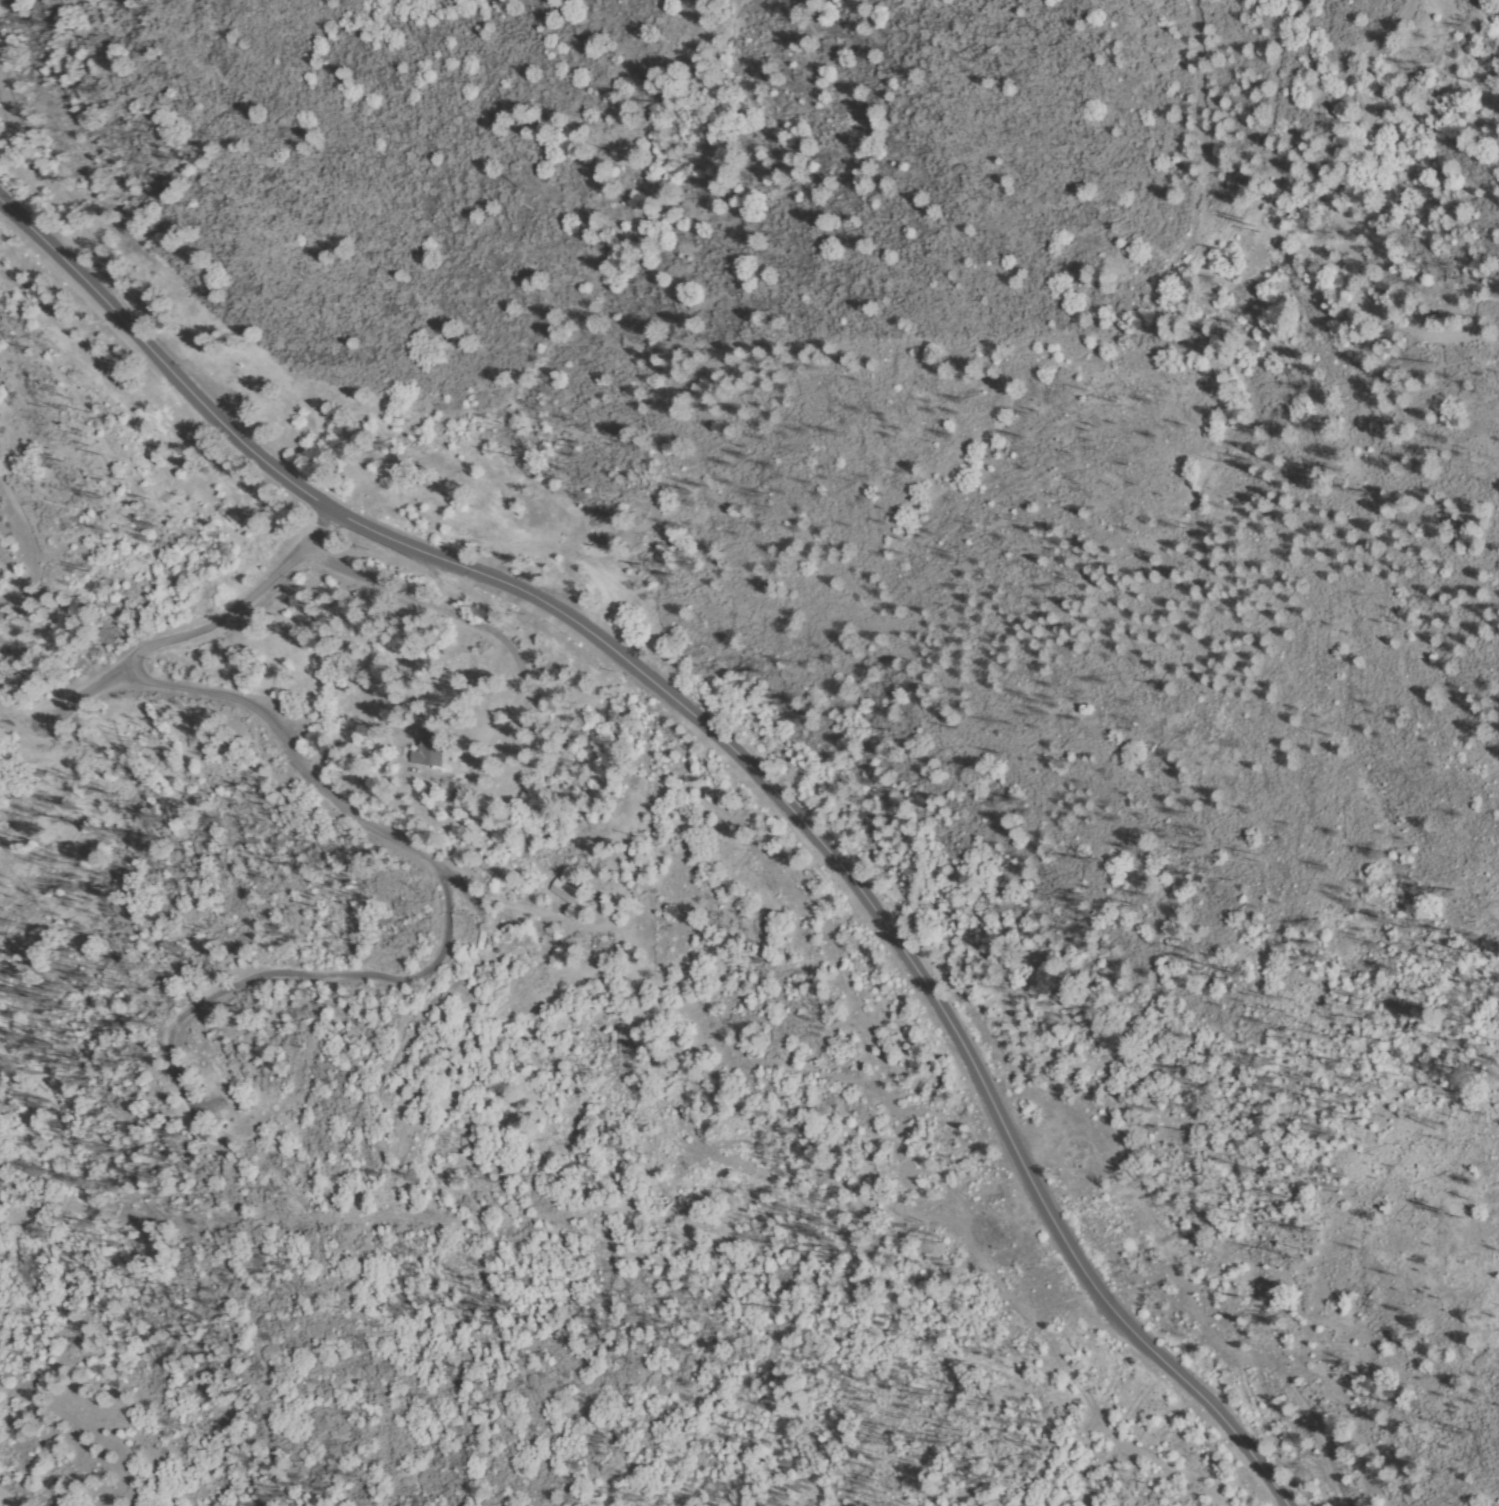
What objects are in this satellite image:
road: (218, 616)
building: (528, 748)
building: (425, 752)
road: (739, 757)
building: (447, 789)
building: (566, 891)
building: (197, 1134)
road: (9, 1500)

